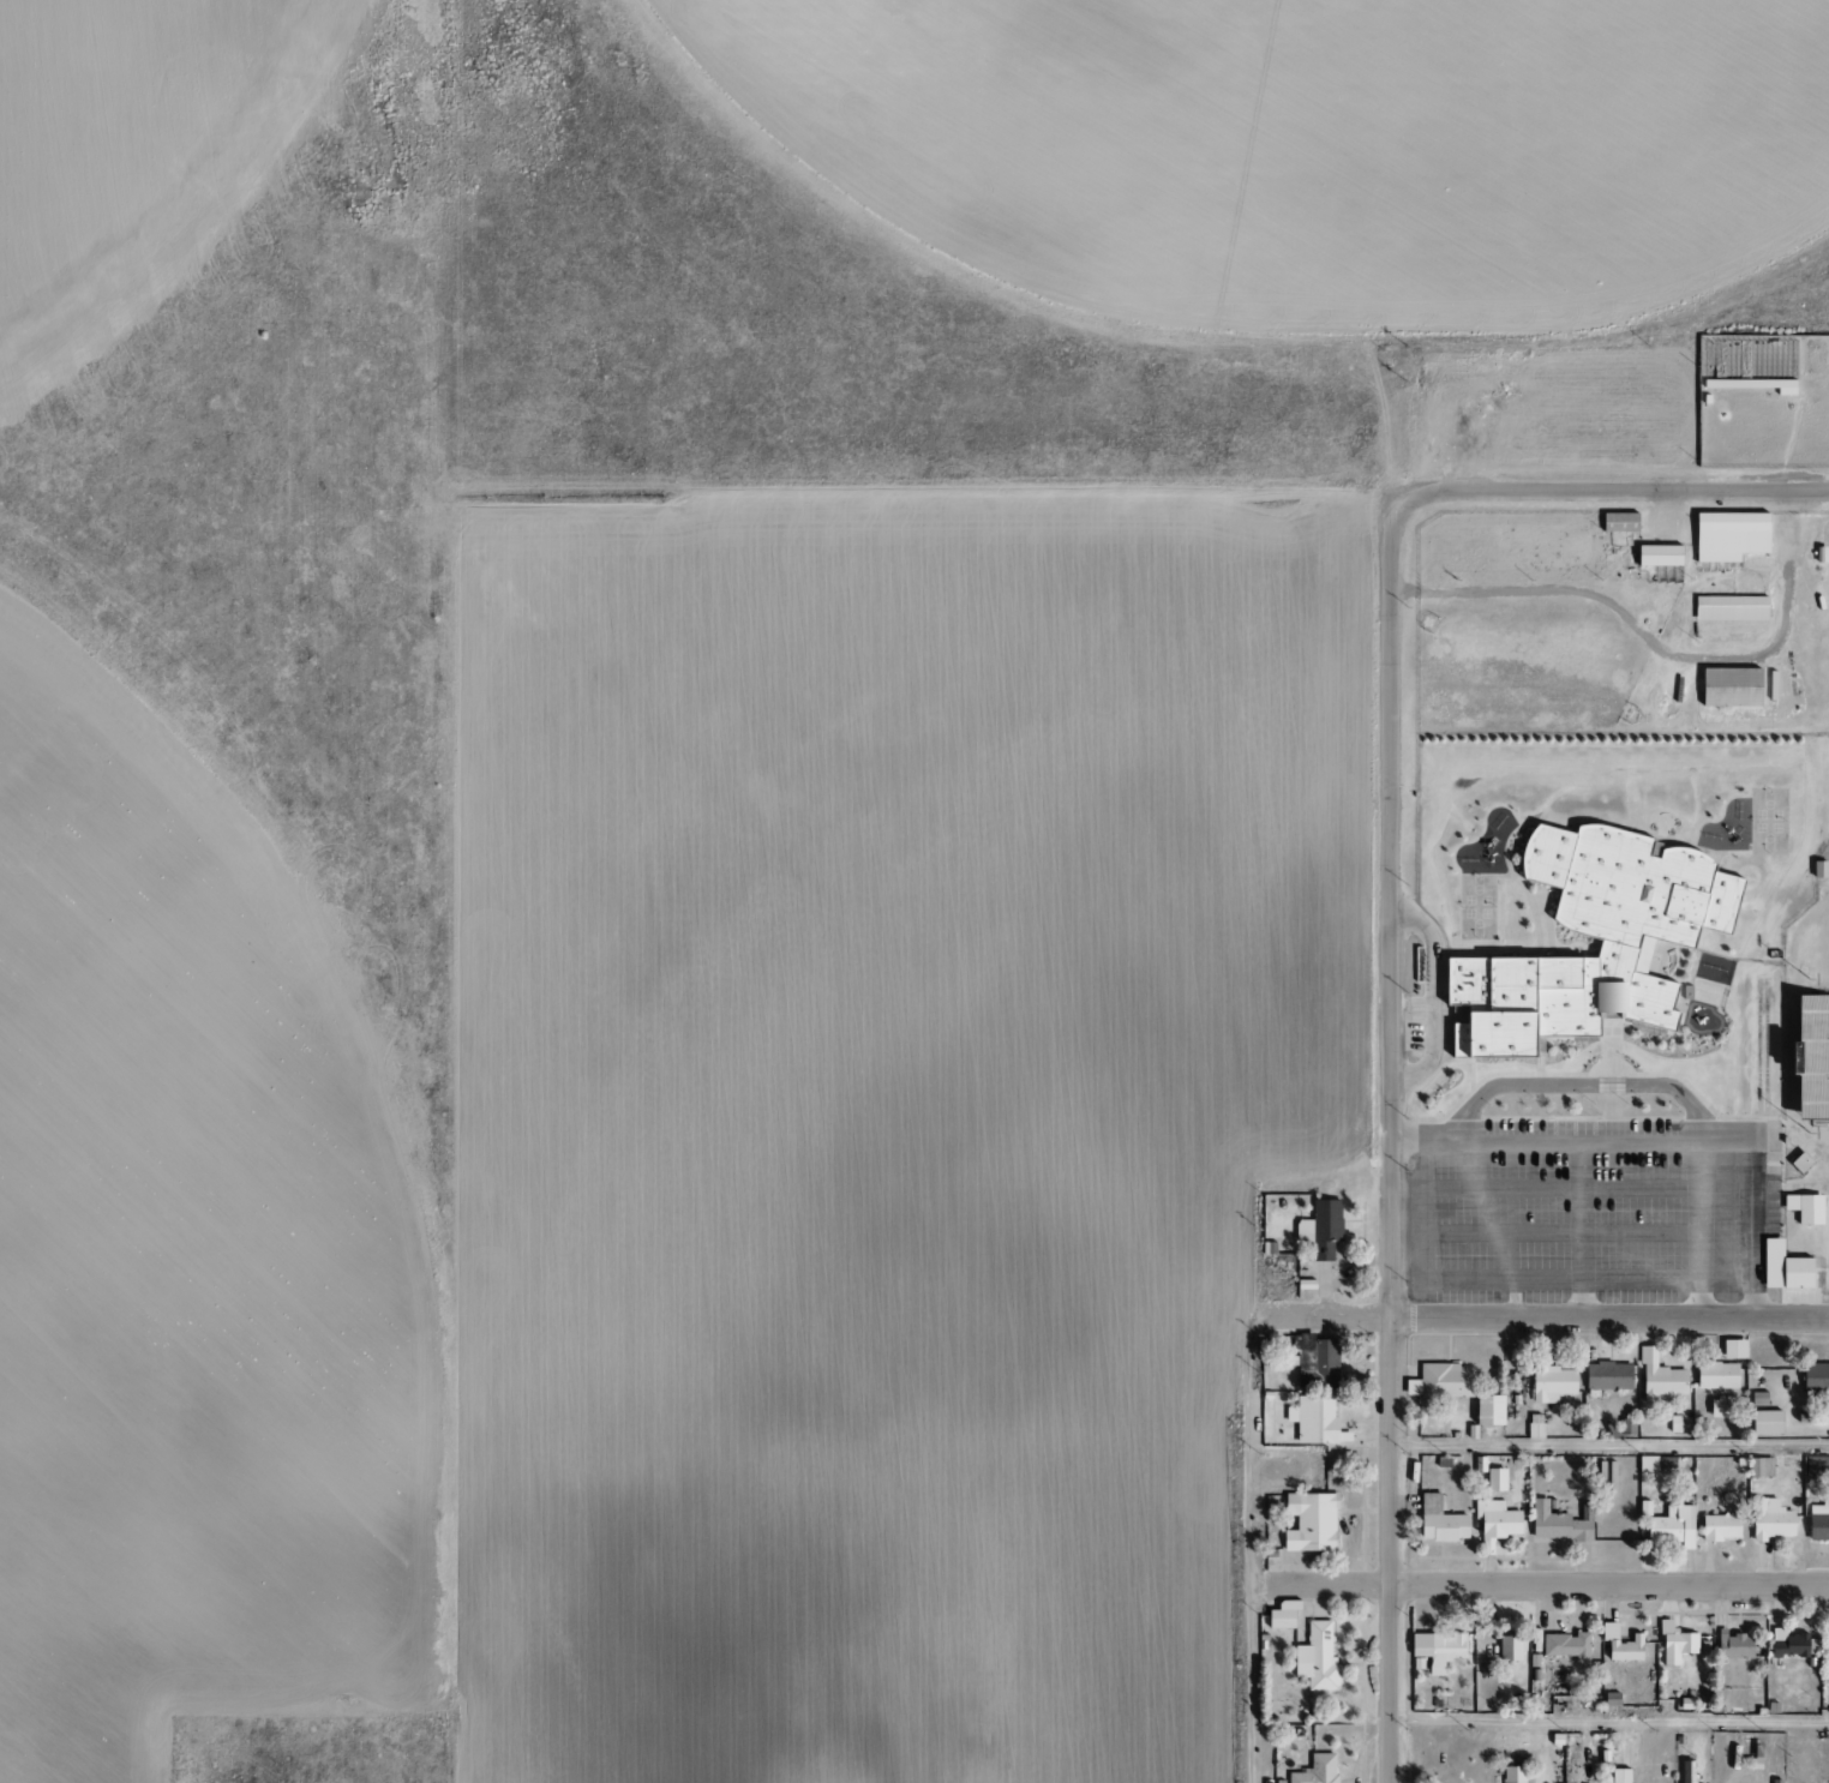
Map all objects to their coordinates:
road: (1607, 492)
building: (1617, 522)
building: (1728, 535)
building: (1656, 556)
building: (1728, 607)
road: (1661, 646)
building: (1727, 686)
building: (1817, 869)
building: (1636, 936)
stadium: (1806, 1093)
road: (1660, 1149)
road: (1397, 1154)
building: (1798, 1161)
building: (1803, 1207)
parking lot: (1597, 1208)
building: (1319, 1229)
building: (1781, 1267)
road: (1553, 1322)
building: (1733, 1349)
building: (1320, 1364)
building: (1715, 1375)
building: (1606, 1376)
building: (1659, 1377)
building: (1813, 1377)
building: (1441, 1382)
building: (1551, 1383)
building: (1758, 1398)
building: (1719, 1409)
building: (1485, 1410)
building: (1314, 1421)
building: (1765, 1422)
building: (1673, 1424)
building: (1534, 1427)
road: (1611, 1443)
building: (1653, 1464)
building: (1758, 1466)
building: (1813, 1466)
building: (1493, 1479)
building: (1494, 1519)
building: (1768, 1520)
building: (1437, 1521)
building: (1308, 1523)
building: (1554, 1523)
building: (1817, 1523)
building: (1669, 1526)
building: (1716, 1527)
road: (1245, 1541)
road: (1536, 1581)
building: (1282, 1615)
building: (1619, 1644)
building: (1673, 1644)
building: (1732, 1645)
building: (1565, 1646)
building: (1507, 1649)
building: (1435, 1650)
building: (1318, 1657)
building: (1825, 1658)
road: (1611, 1719)
building: (1315, 1770)
building: (1686, 1772)
building: (1511, 1775)
building: (1619, 1776)

